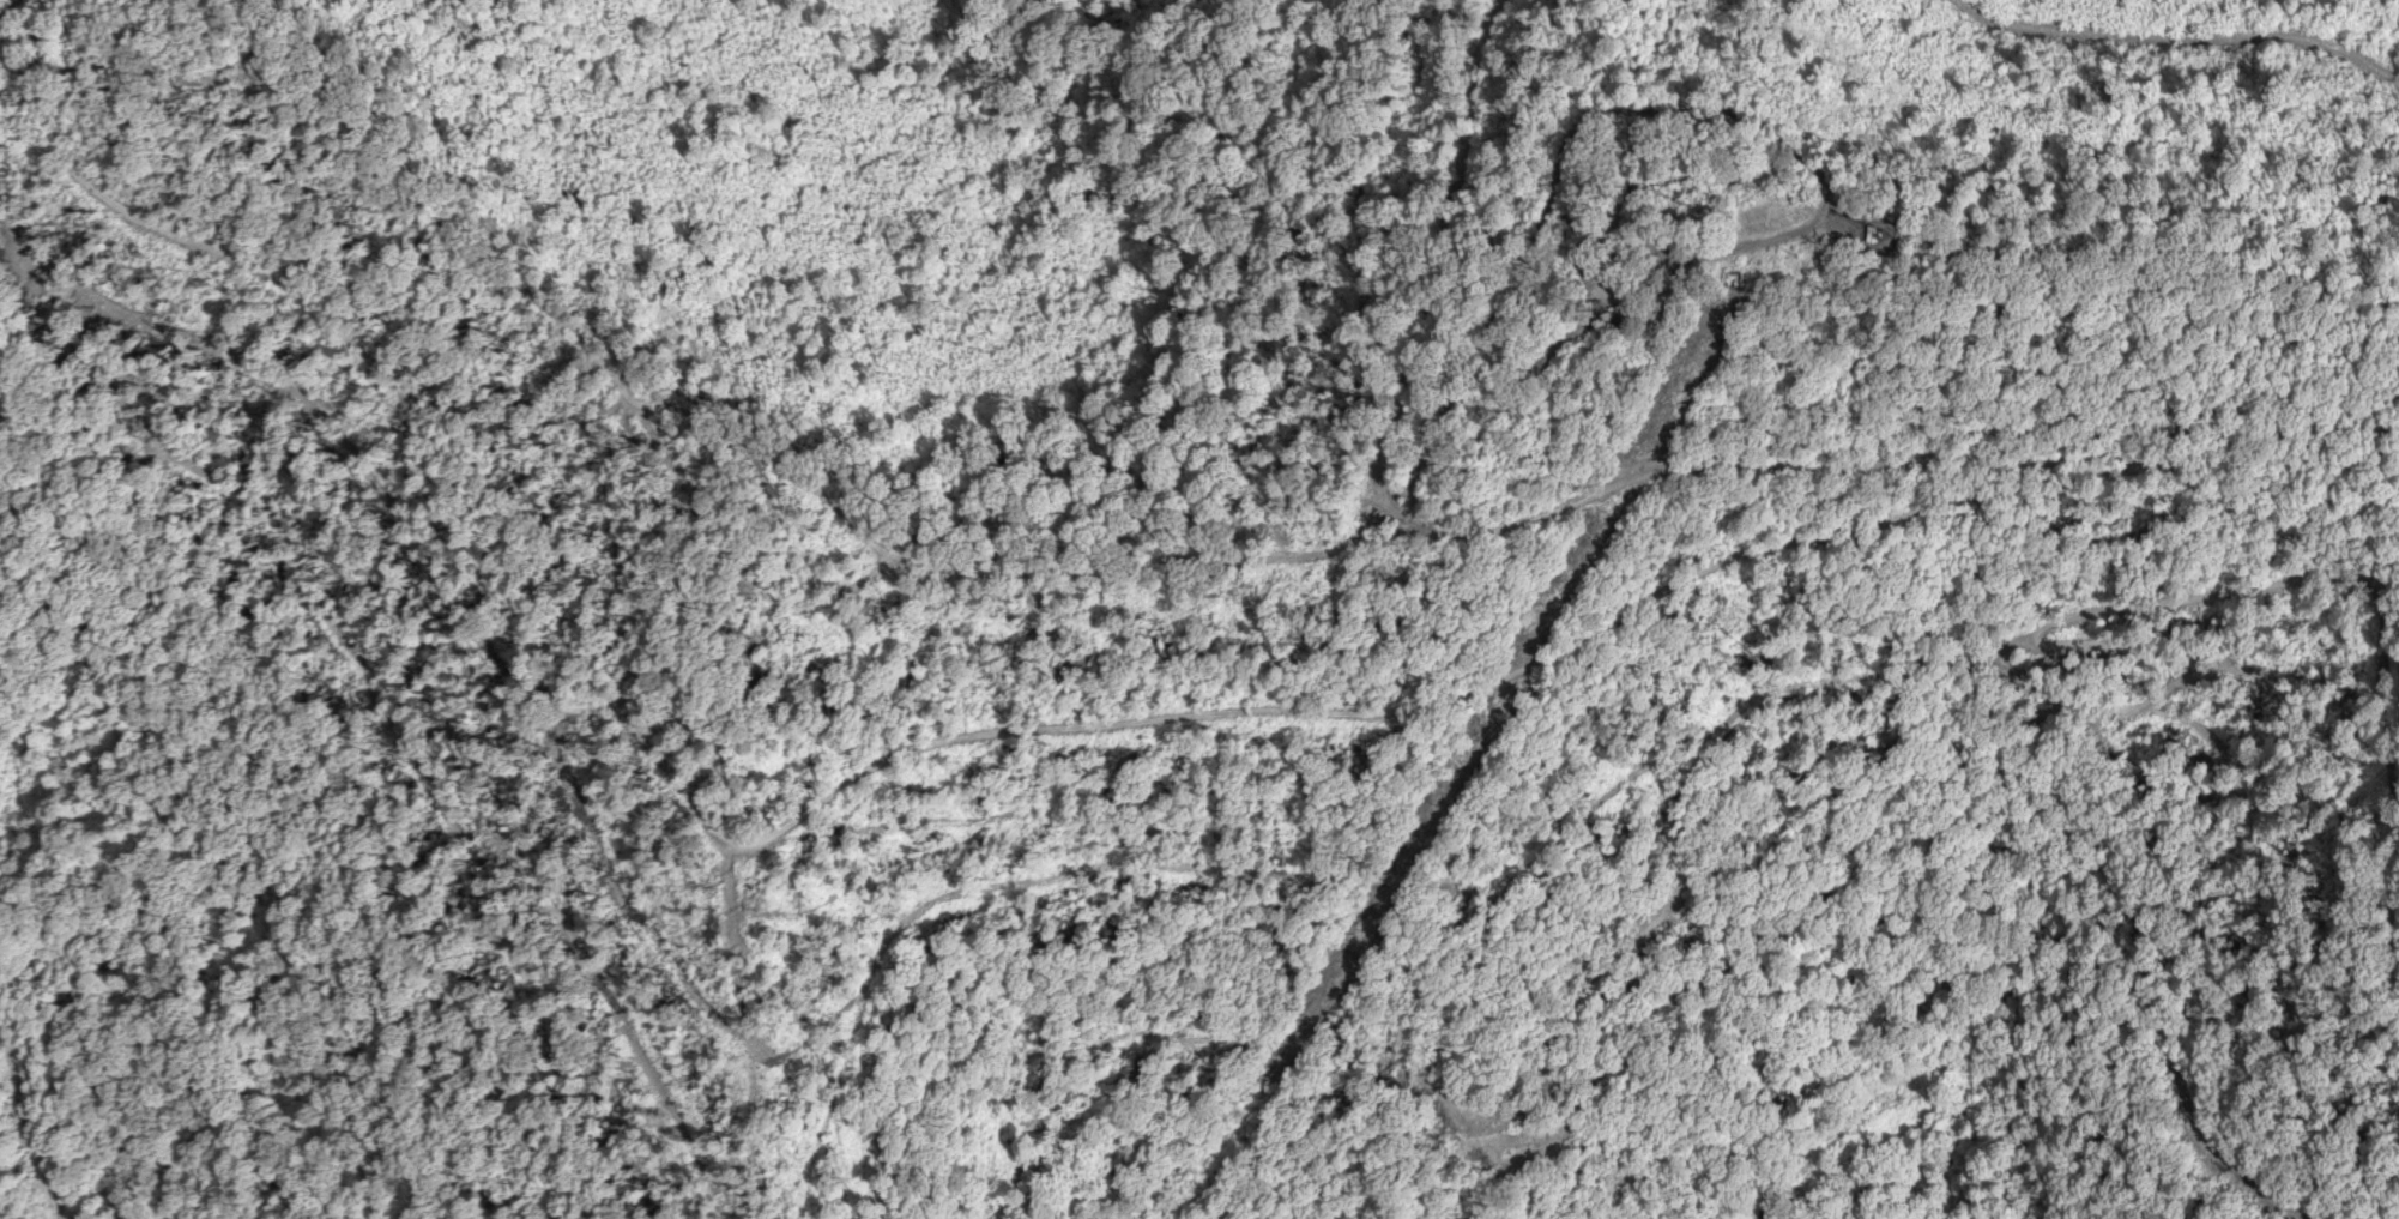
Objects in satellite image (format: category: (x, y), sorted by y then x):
building: (1867, 237)
building: (1594, 316)
road: (1585, 467)
road: (22, 1140)

